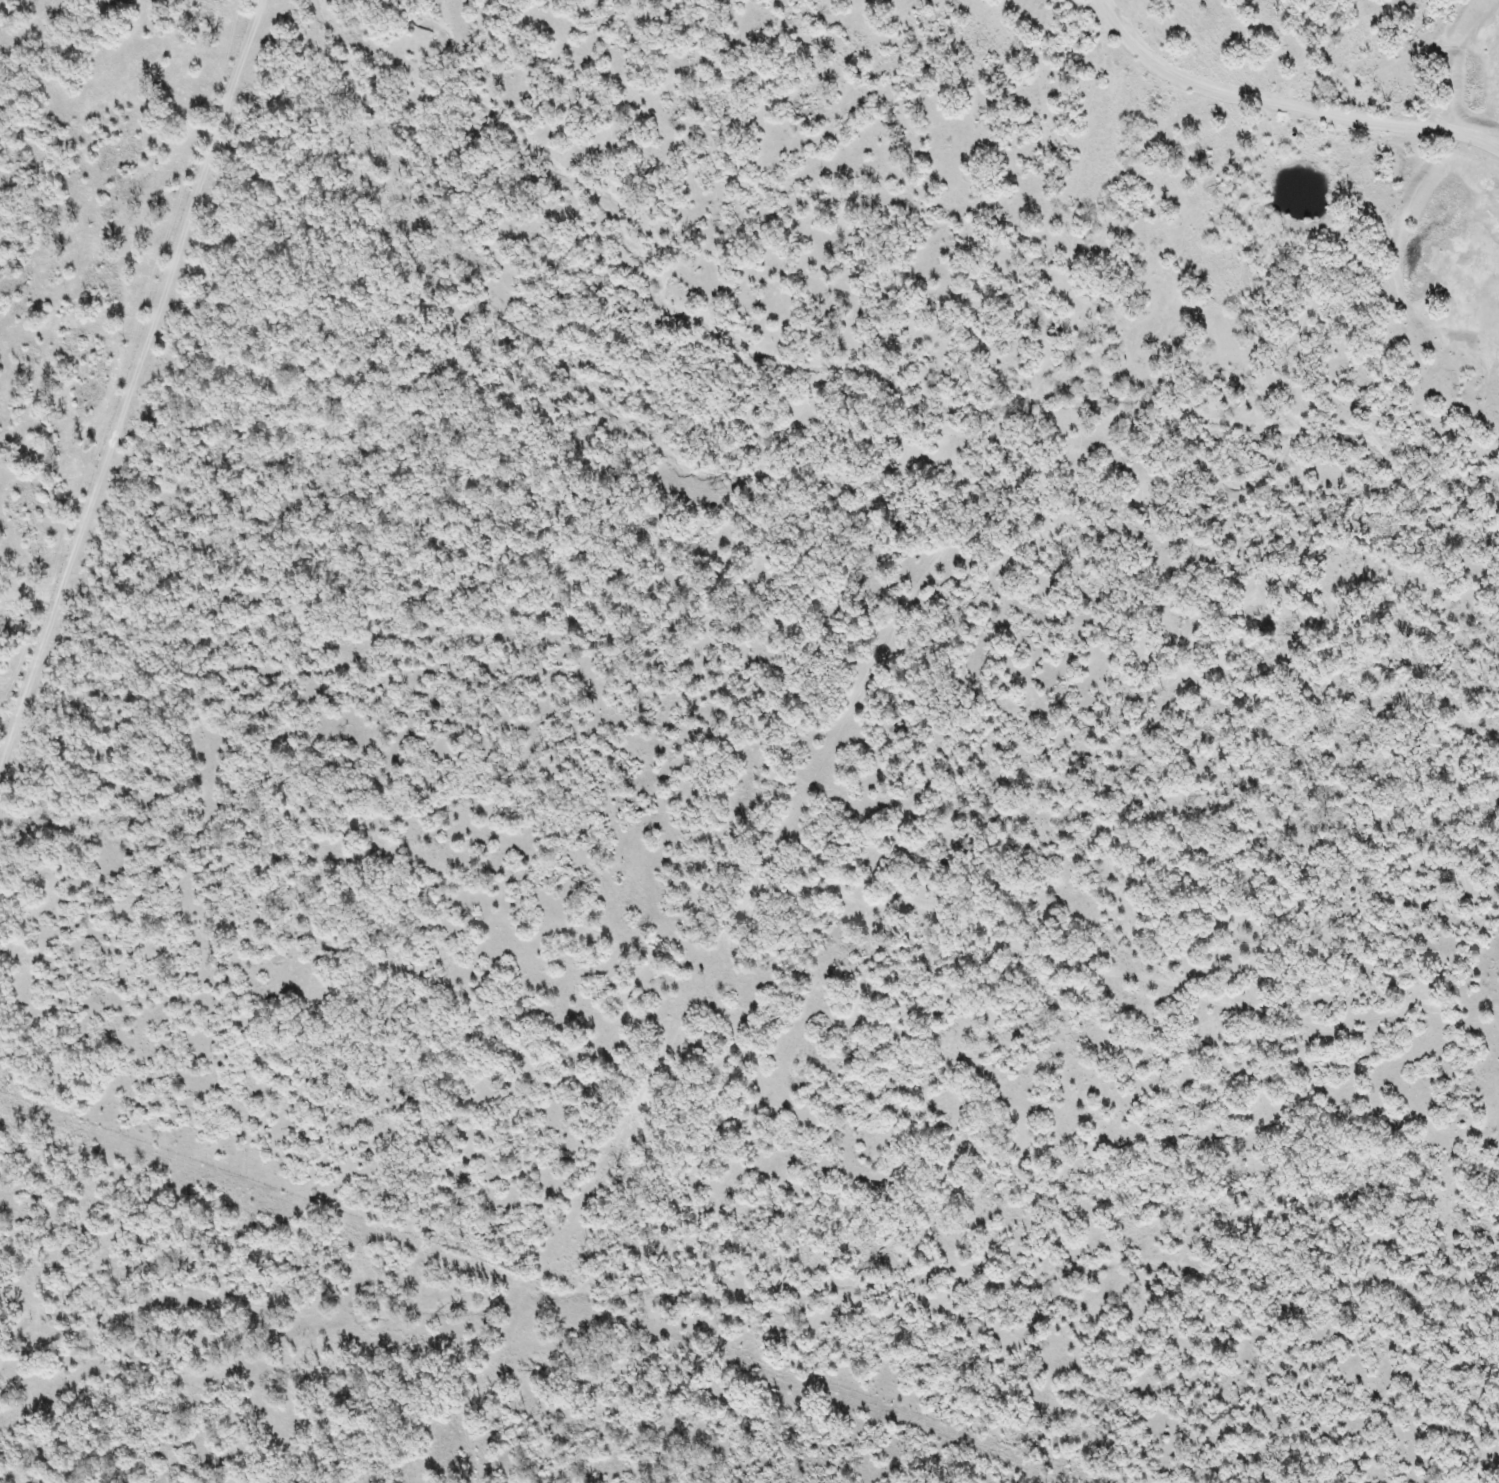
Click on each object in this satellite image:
road: (1273, 149)

